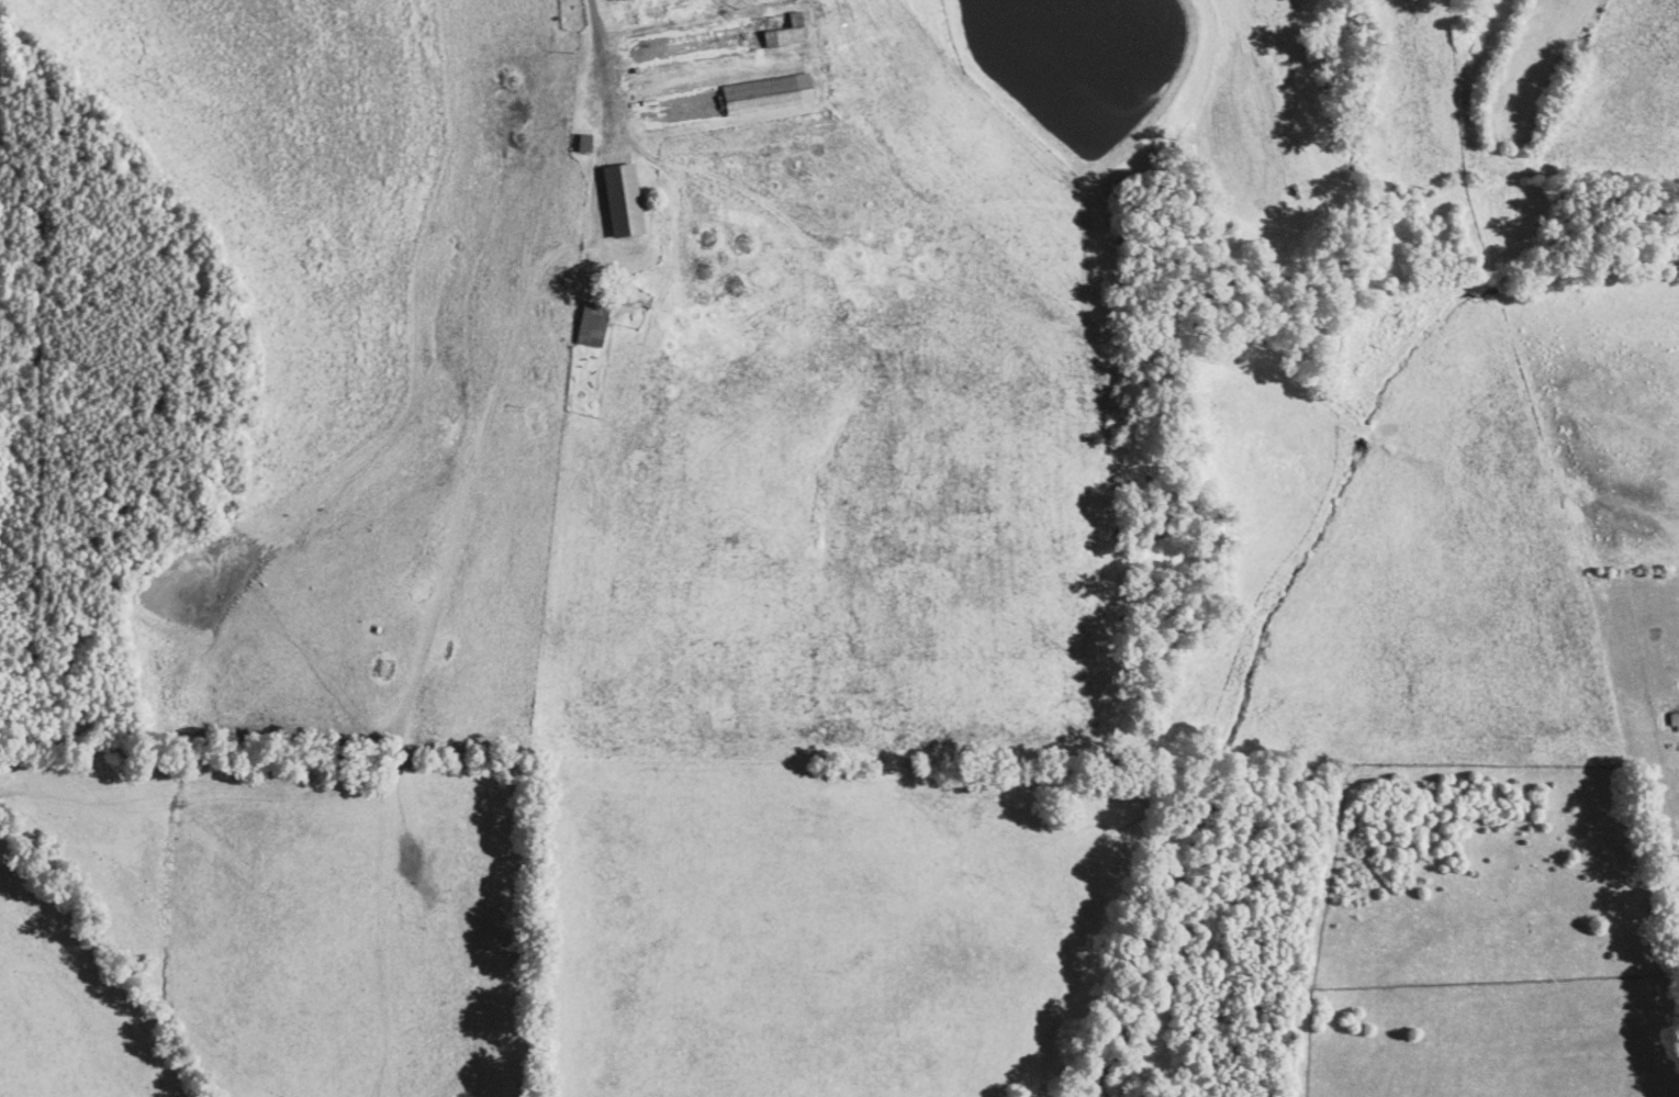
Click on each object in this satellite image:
building: (777, 29)
building: (648, 48)
road: (601, 53)
airport runway: (1533, 63)
building: (622, 198)
building: (592, 325)

